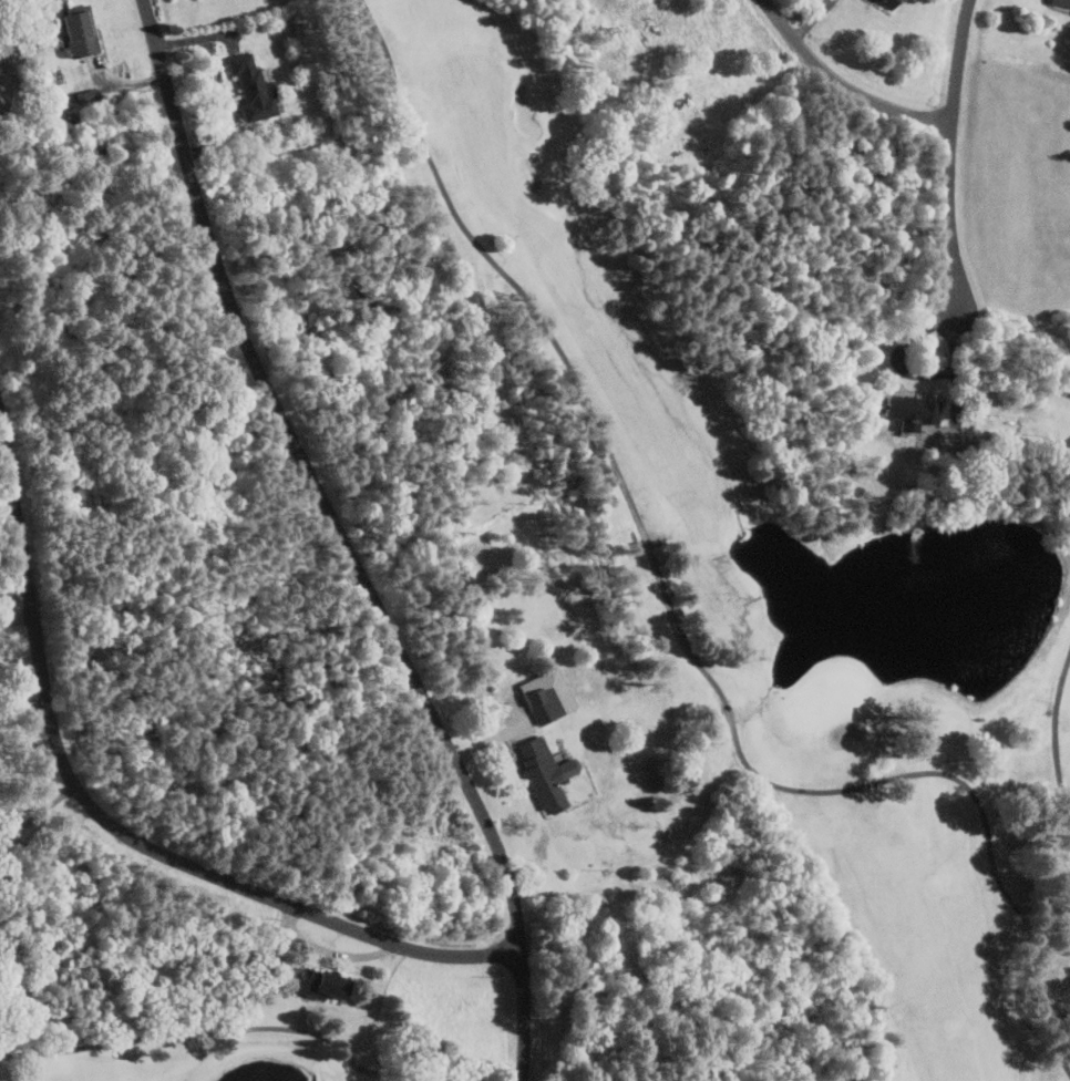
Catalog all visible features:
building: (1060, 2)
building: (885, 3)
building: (78, 31)
road: (843, 84)
building: (250, 87)
road: (951, 214)
road: (899, 352)
building: (909, 411)
park: (535, 540)
road: (343, 542)
road: (675, 615)
building: (545, 694)
building: (544, 773)
road: (39, 814)
road: (116, 825)
building: (317, 980)
road: (197, 1048)

